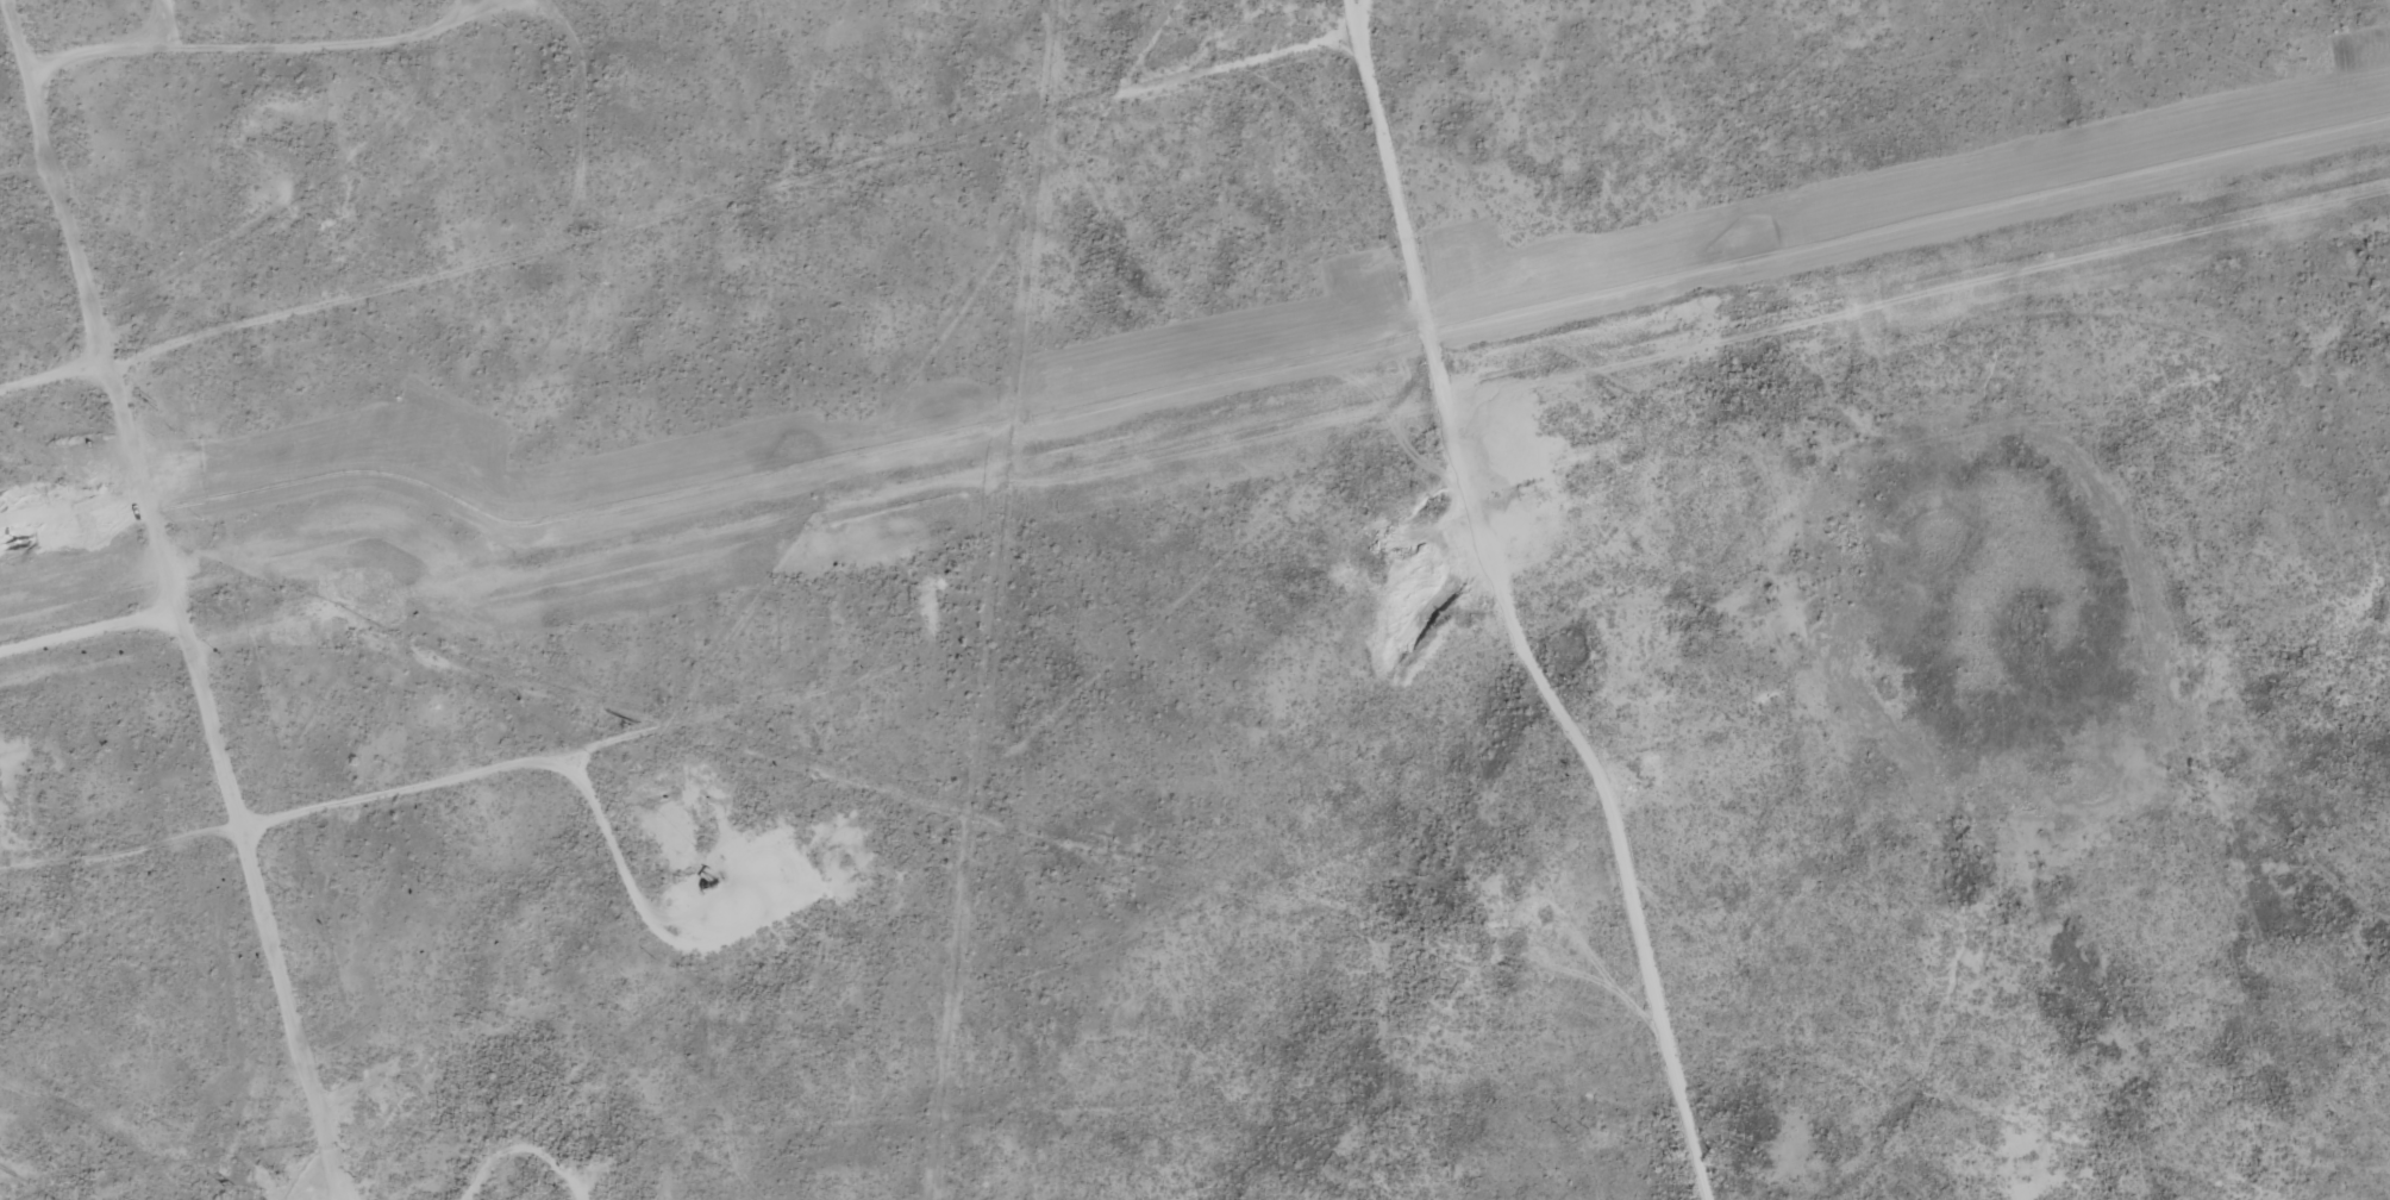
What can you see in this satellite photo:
road: (188, 600)
river: (1565, 635)

